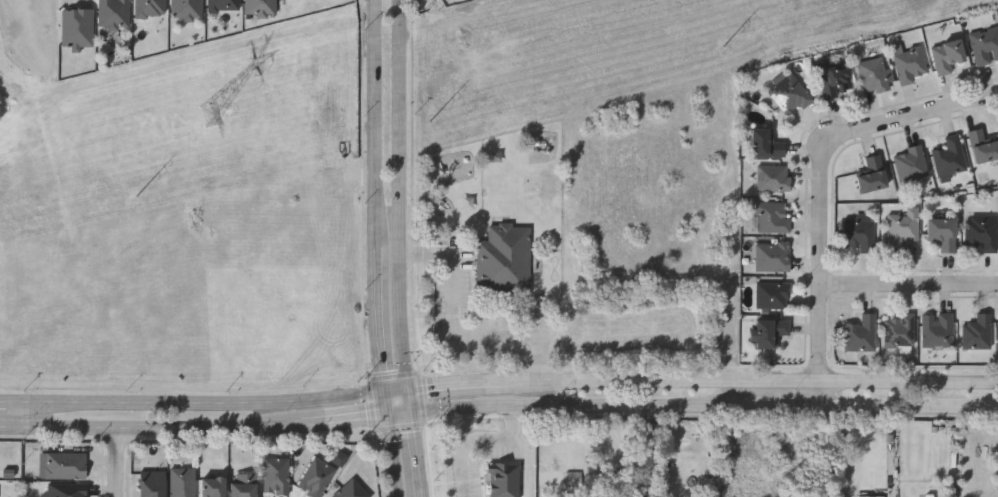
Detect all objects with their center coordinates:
building: (224, 5)
building: (261, 7)
building: (151, 8)
building: (188, 9)
building: (114, 13)
building: (77, 28)
building: (985, 45)
building: (947, 56)
building: (910, 65)
building: (873, 75)
building: (835, 80)
building: (790, 94)
power tower: (229, 108)
road: (913, 120)
road: (377, 123)
building: (766, 144)
building: (983, 147)
building: (950, 157)
building: (911, 164)
building: (872, 175)
building: (774, 178)
road: (403, 194)
building: (773, 218)
building: (903, 229)
building: (860, 231)
building: (982, 232)
building: (943, 233)
building: (773, 256)
building: (505, 260)
road: (825, 274)
road: (912, 287)
building: (774, 295)
road: (381, 319)
building: (900, 331)
building: (938, 331)
road: (457, 333)
building: (769, 333)
building: (978, 333)
building: (861, 335)
road: (394, 375)
road: (753, 380)
road: (459, 384)
traffic signals: (411, 389)
road: (399, 390)
traffic signals: (388, 391)
road: (423, 397)
road: (3, 400)
road: (412, 400)
road: (197, 402)
road: (389, 402)
road: (578, 403)
road: (782, 403)
road: (373, 404)
road: (909, 404)
traffic signals: (413, 411)
road: (401, 412)
traffic signals: (390, 414)
road: (347, 418)
road: (402, 426)
road: (152, 427)
road: (479, 440)
building: (645, 450)
road: (417, 454)
road: (393, 455)
road: (119, 462)
building: (63, 466)
building: (997, 470)
building: (276, 476)
building: (316, 478)
building: (575, 478)
building: (505, 480)
building: (183, 482)
building: (152, 485)
building: (243, 485)
building: (213, 487)
building: (65, 490)
building: (352, 490)
building: (872, 496)

